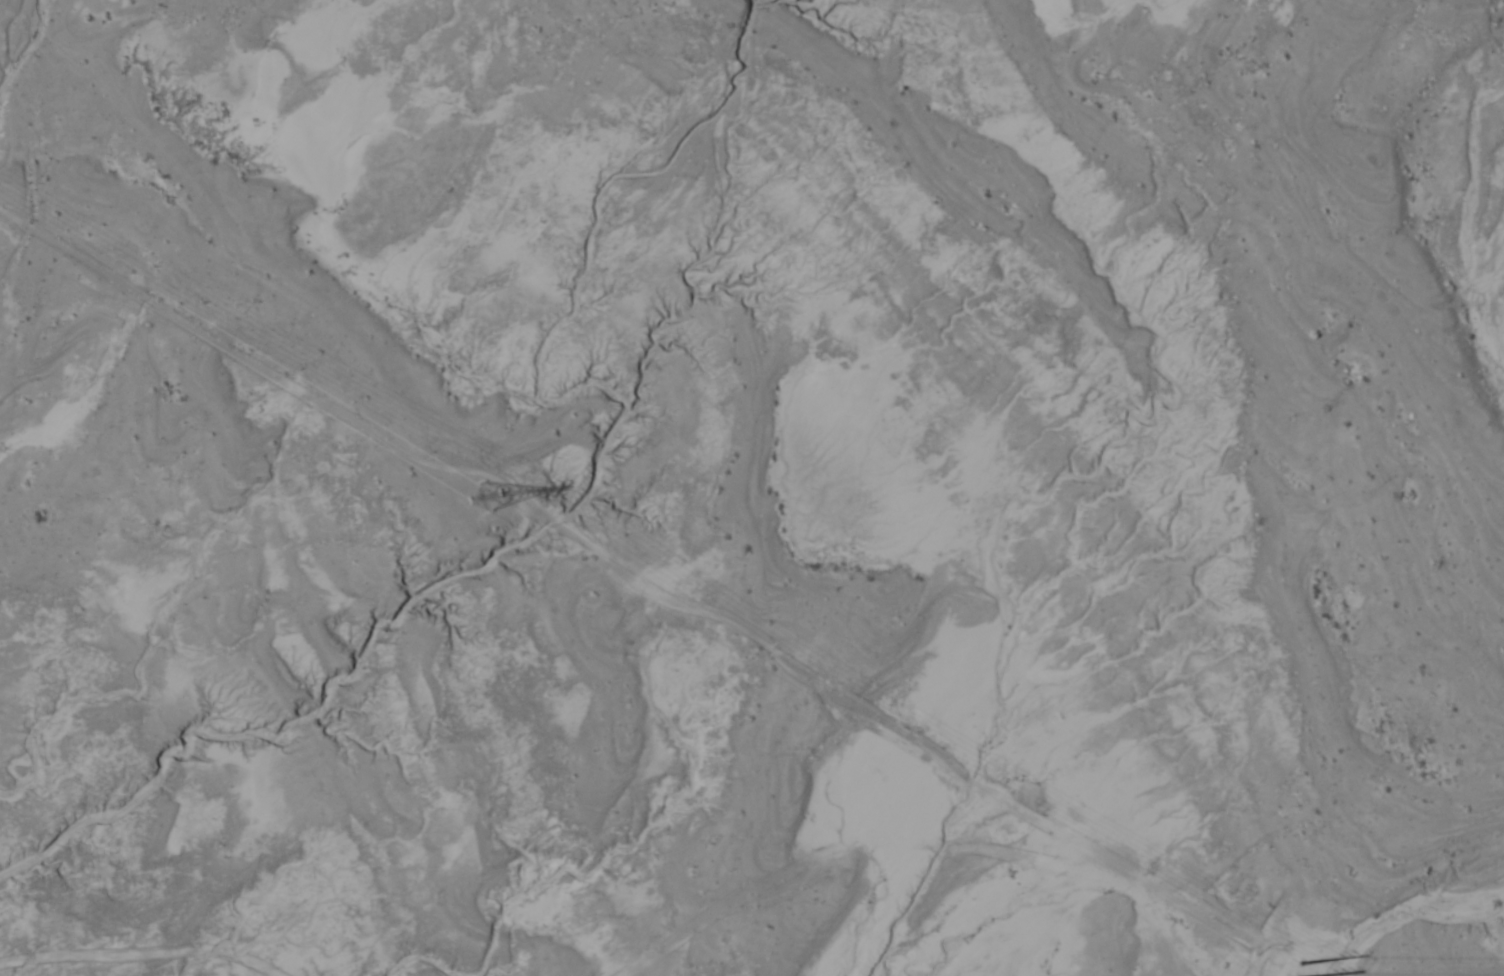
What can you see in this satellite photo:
power tower: (493, 502)

